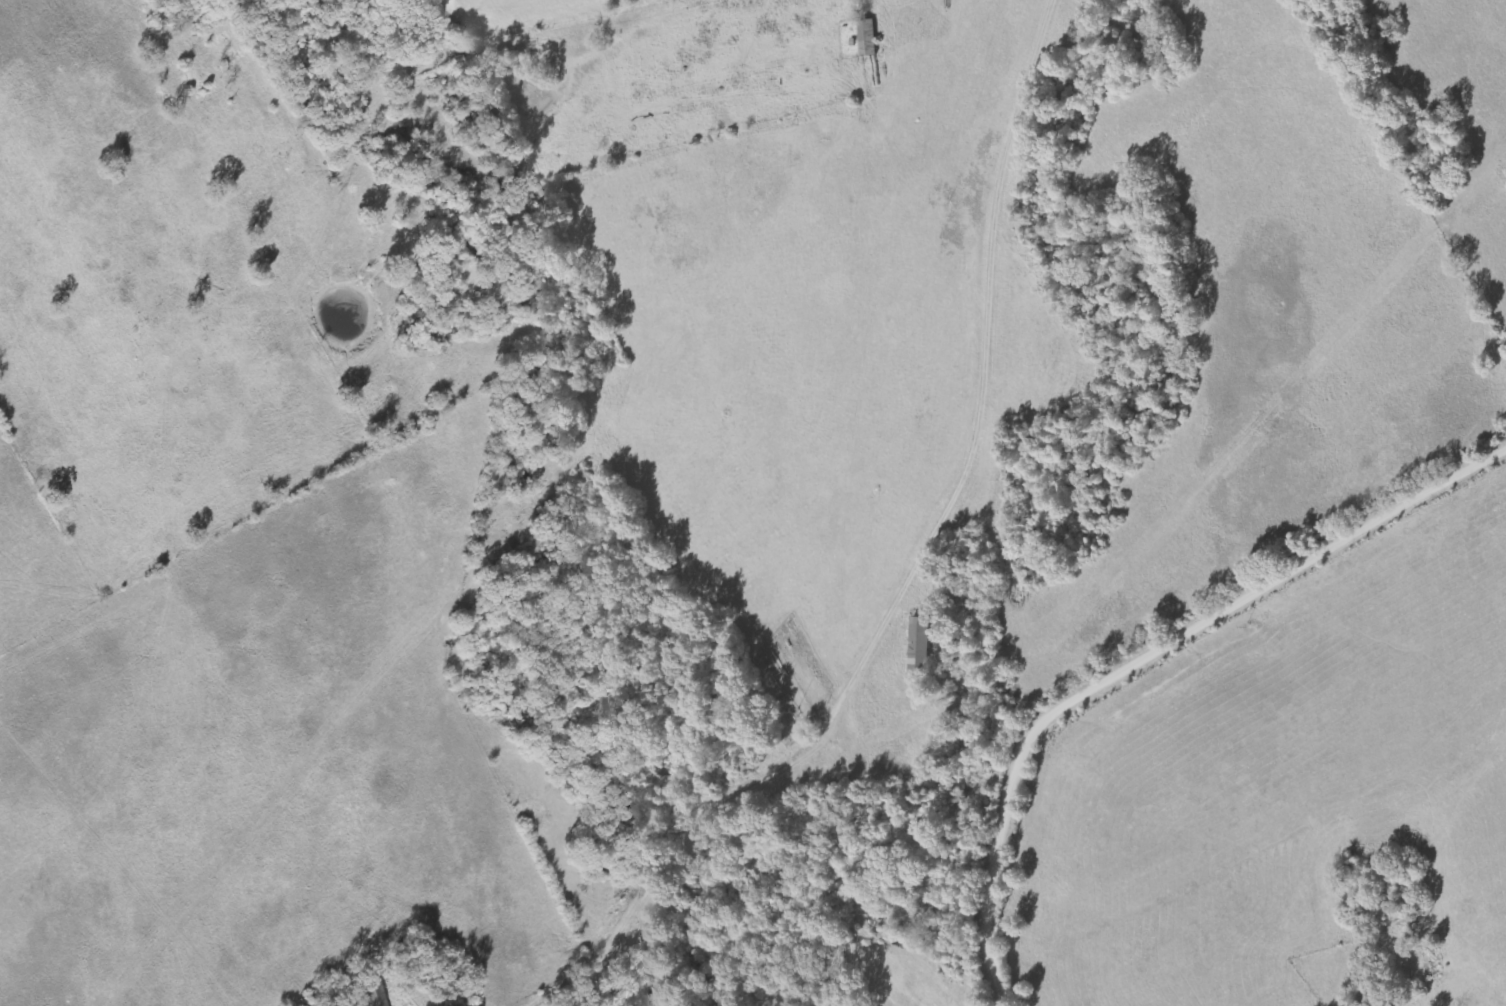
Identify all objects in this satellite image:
building: (869, 34)
building: (922, 647)
road: (1142, 657)
building: (375, 994)

